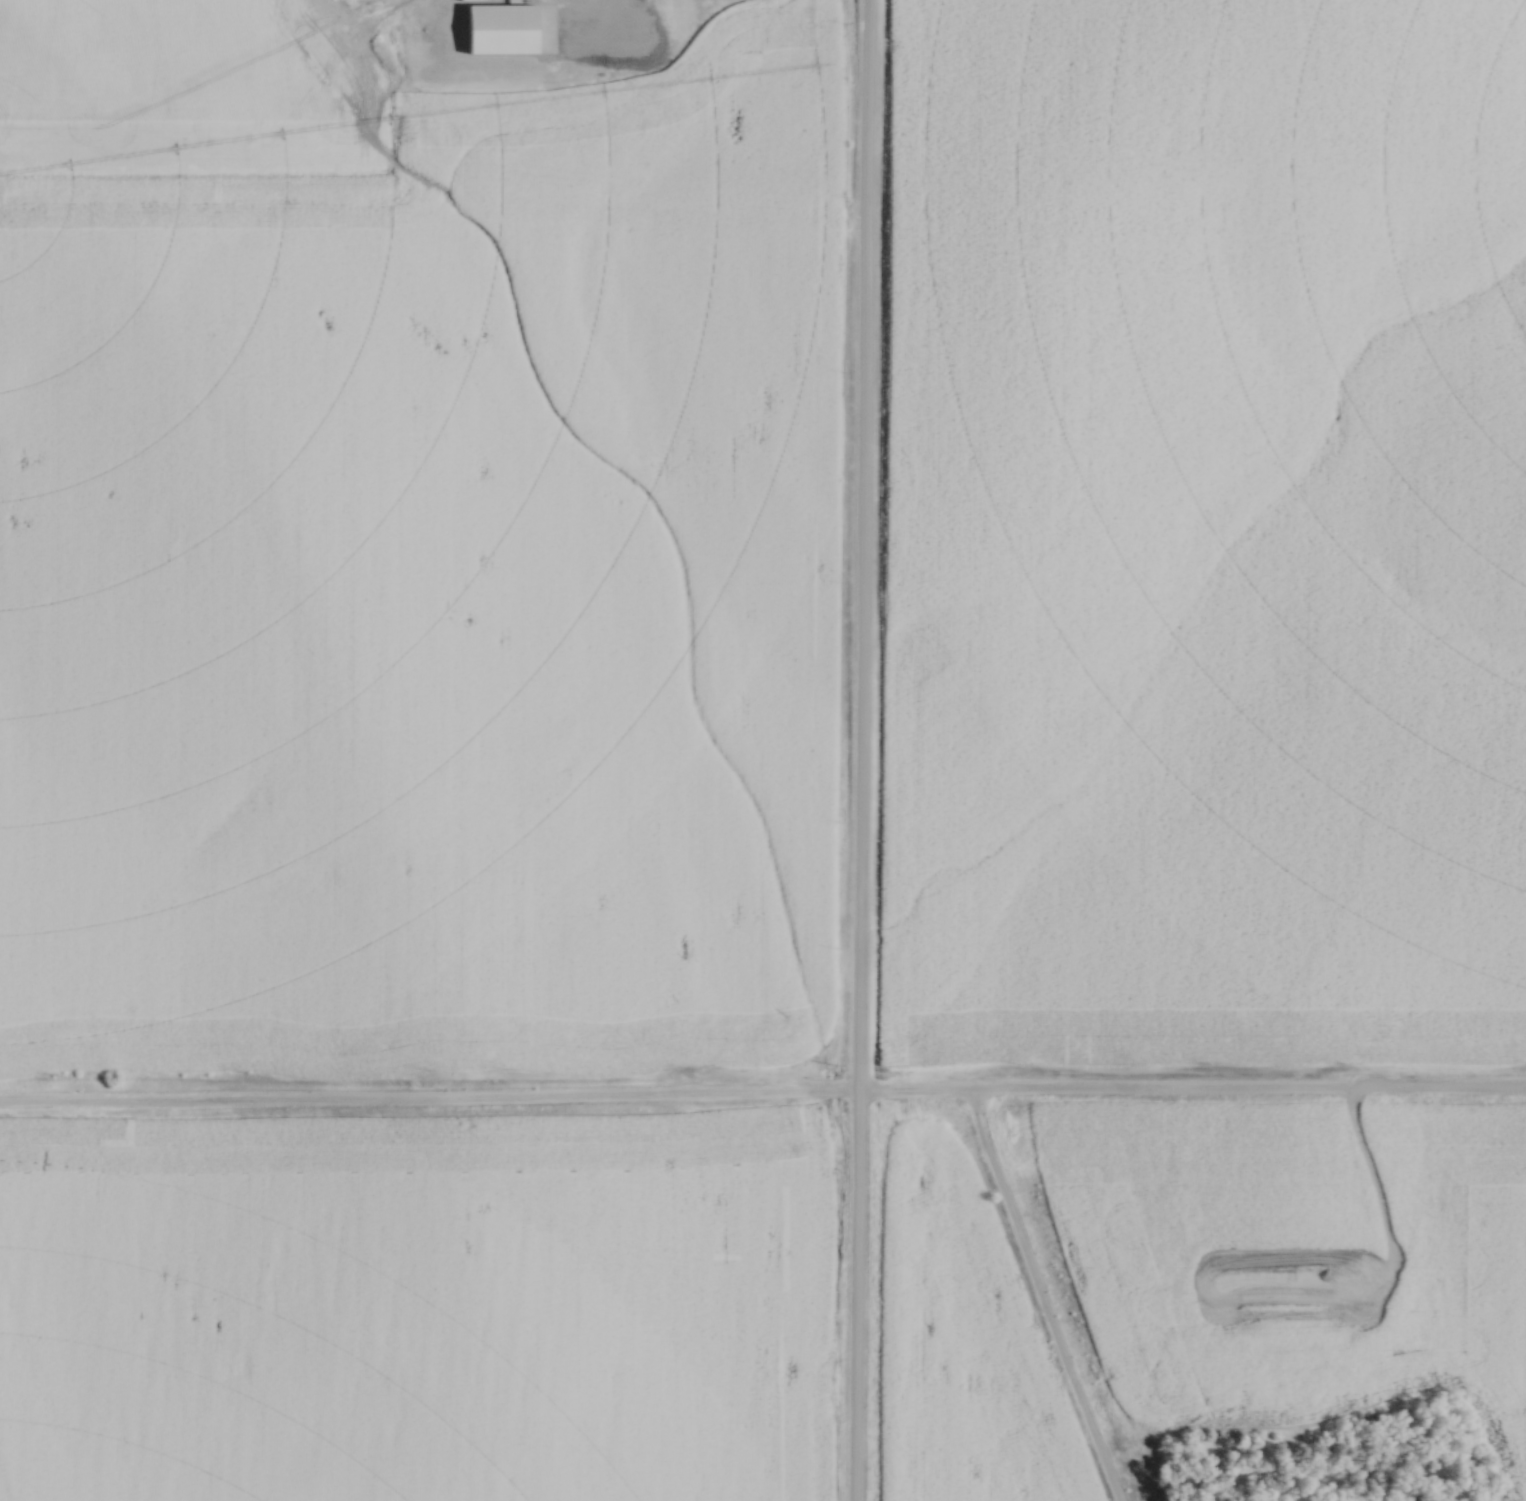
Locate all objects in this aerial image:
building: (463, 4)
building: (500, 5)
road: (860, 750)
road: (762, 1091)
road: (1037, 1297)

